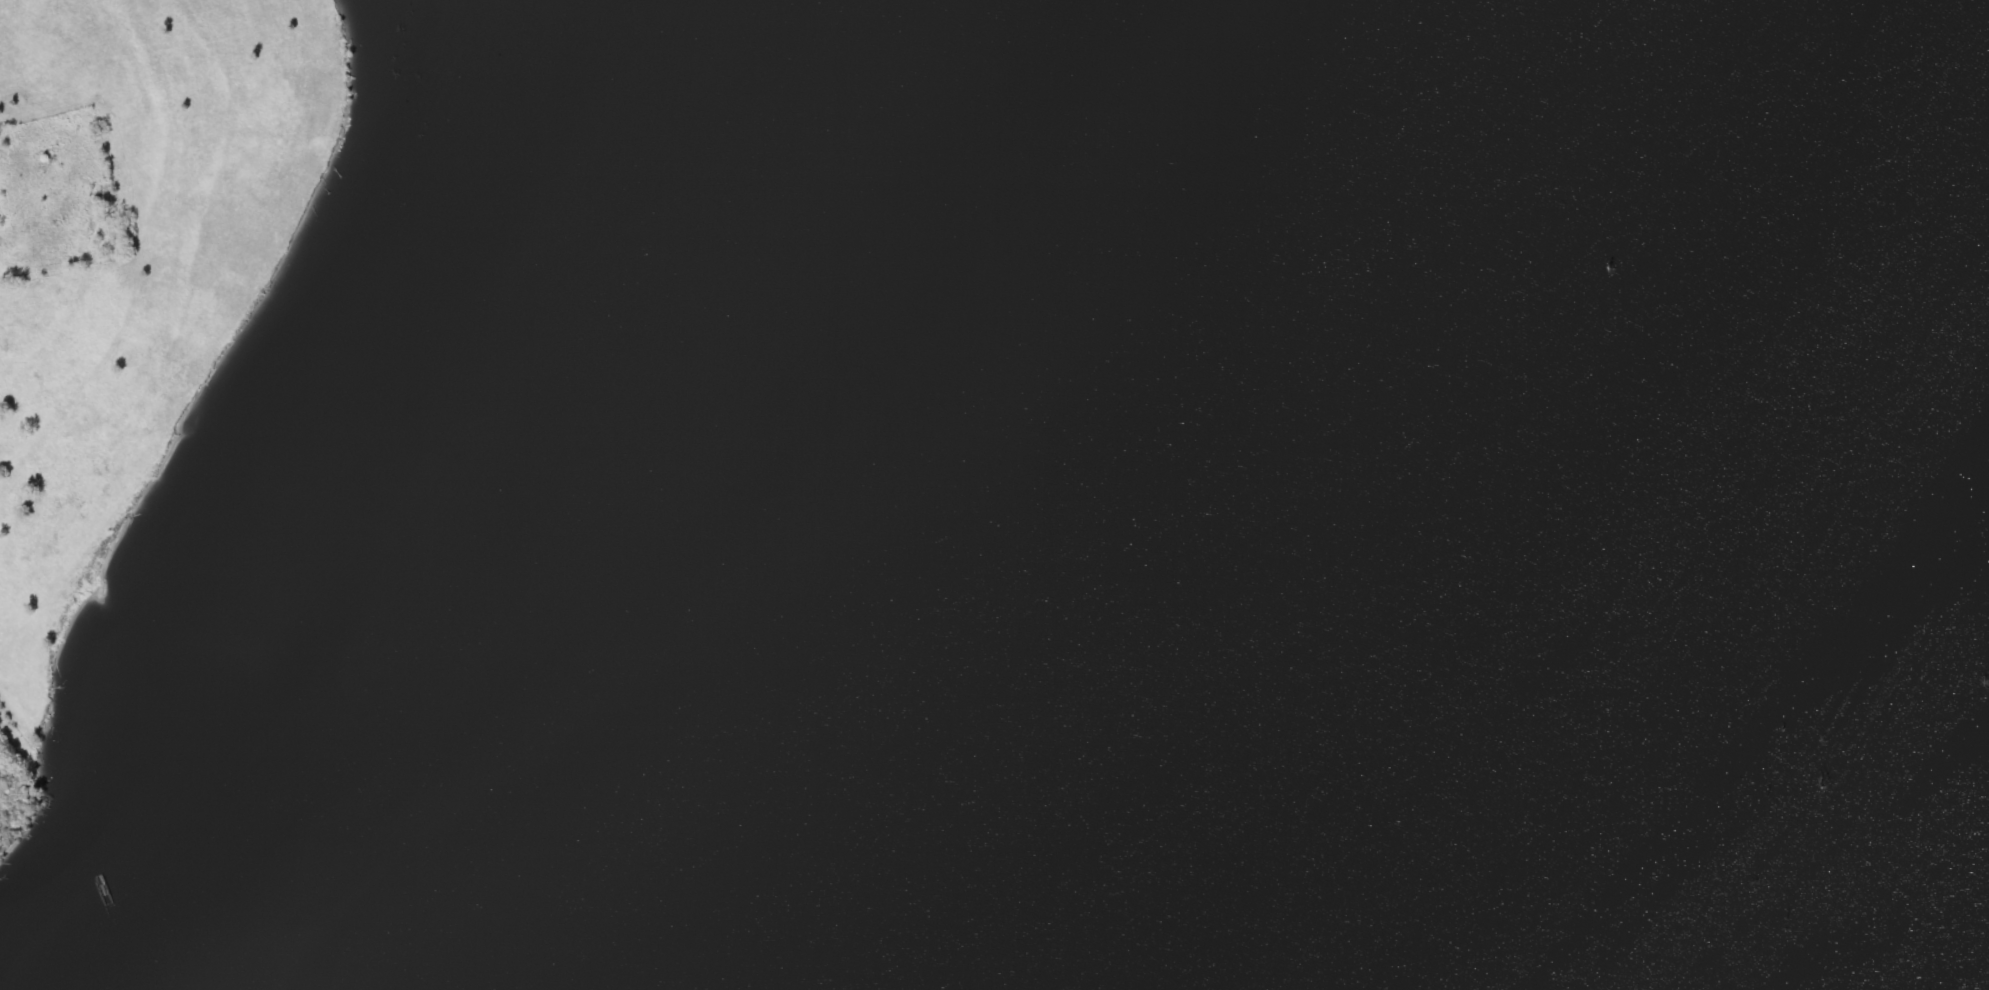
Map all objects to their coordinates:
road: (29, 762)

